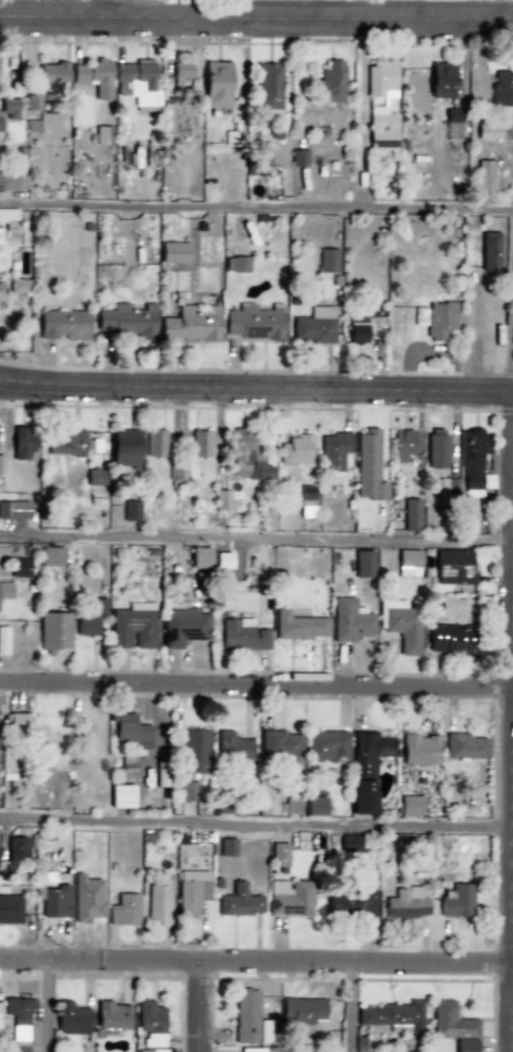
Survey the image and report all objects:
road: (256, 16)
building: (180, 73)
building: (51, 75)
building: (93, 77)
building: (378, 77)
building: (331, 81)
building: (439, 81)
building: (136, 84)
building: (215, 85)
building: (267, 85)
building: (502, 90)
building: (33, 102)
building: (9, 108)
building: (451, 124)
building: (32, 126)
building: (380, 130)
building: (487, 132)
building: (272, 134)
building: (101, 135)
building: (298, 158)
building: (484, 181)
building: (12, 183)
road: (256, 205)
building: (1, 215)
building: (488, 252)
building: (173, 253)
building: (327, 261)
building: (235, 265)
building: (17, 286)
building: (1, 292)
building: (418, 316)
building: (124, 321)
building: (439, 321)
building: (508, 322)
building: (252, 323)
building: (190, 324)
building: (62, 325)
building: (313, 327)
building: (356, 329)
road: (256, 387)
building: (20, 443)
building: (154, 443)
building: (199, 443)
building: (64, 444)
building: (436, 444)
building: (400, 445)
building: (123, 447)
building: (294, 449)
building: (332, 450)
building: (245, 456)
building: (473, 463)
building: (0, 464)
building: (366, 467)
building: (176, 475)
building: (94, 477)
building: (448, 487)
building: (221, 499)
building: (305, 500)
building: (13, 510)
building: (130, 510)
building: (411, 513)
road: (256, 537)
building: (50, 556)
building: (197, 557)
building: (407, 563)
building: (363, 564)
building: (452, 567)
building: (4, 591)
building: (99, 606)
building: (347, 620)
building: (401, 625)
building: (85, 626)
building: (132, 626)
building: (297, 626)
building: (182, 627)
building: (52, 631)
building: (242, 634)
building: (448, 639)
building: (2, 640)
road: (256, 681)
building: (14, 722)
building: (129, 730)
building: (278, 743)
building: (326, 746)
building: (463, 746)
building: (231, 747)
building: (417, 749)
building: (192, 750)
building: (368, 752)
building: (159, 776)
building: (186, 790)
building: (119, 796)
building: (359, 796)
building: (291, 803)
building: (315, 806)
building: (408, 806)
road: (256, 823)
building: (347, 844)
building: (227, 847)
building: (15, 849)
building: (278, 855)
building: (191, 891)
building: (288, 897)
building: (85, 898)
building: (456, 900)
building: (53, 902)
building: (239, 902)
building: (349, 903)
building: (405, 904)
building: (157, 905)
building: (10, 909)
building: (123, 910)
road: (256, 959)
road: (50, 1005)
road: (199, 1005)
road: (354, 1005)
road: (512, 1006)
building: (0, 1011)
building: (19, 1011)
building: (301, 1011)
building: (110, 1016)
building: (244, 1016)
building: (392, 1016)
building: (71, 1018)
building: (449, 1021)
building: (150, 1026)
building: (261, 1031)
building: (464, 1044)
building: (249, 1050)

